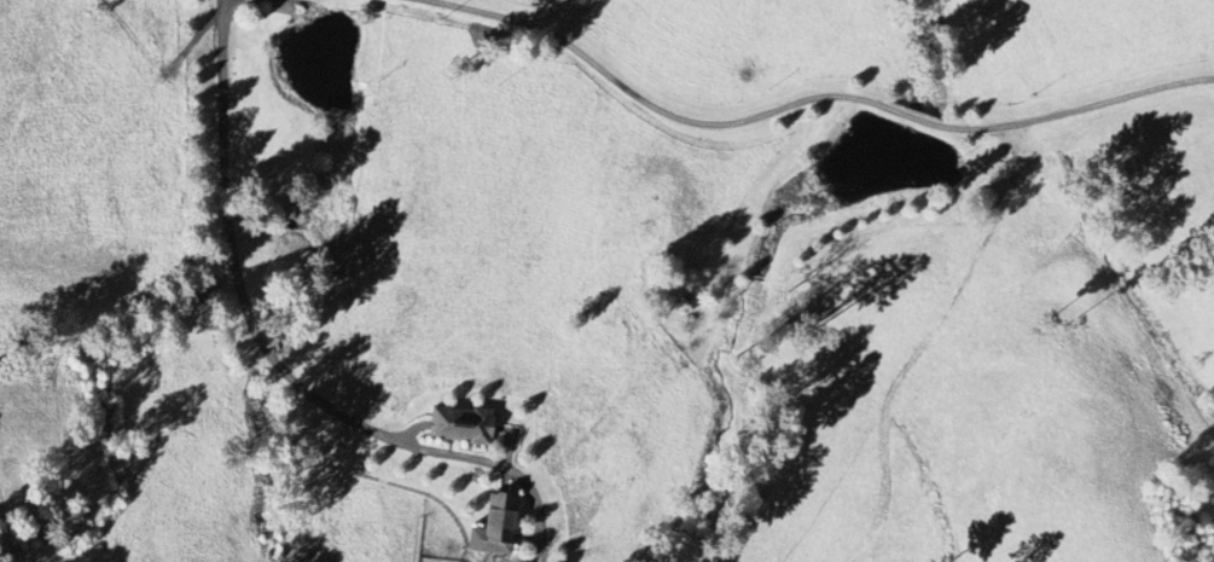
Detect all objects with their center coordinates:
road: (811, 97)
road: (272, 363)
building: (459, 424)
building: (495, 526)

